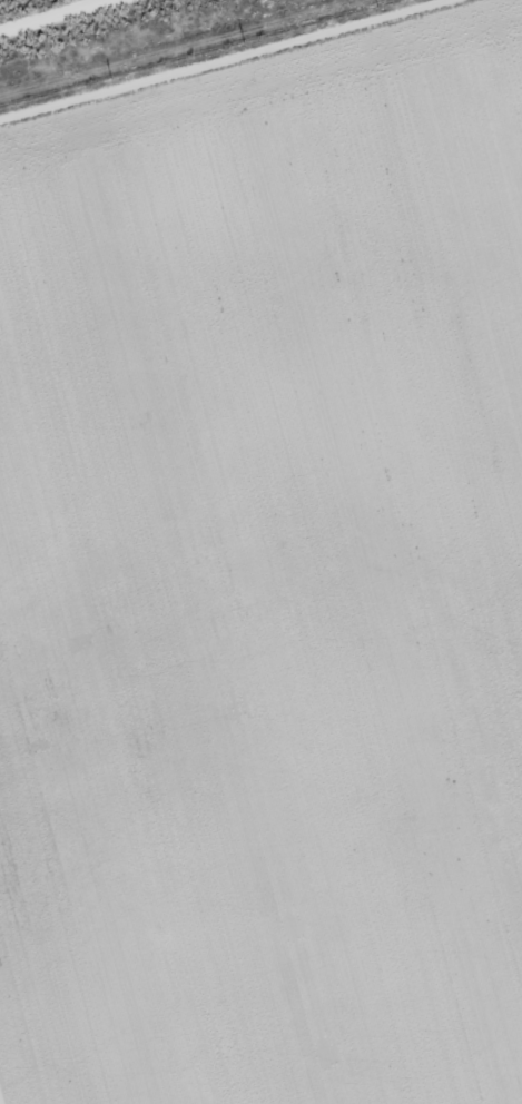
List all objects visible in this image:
road: (55, 17)
road: (228, 60)

